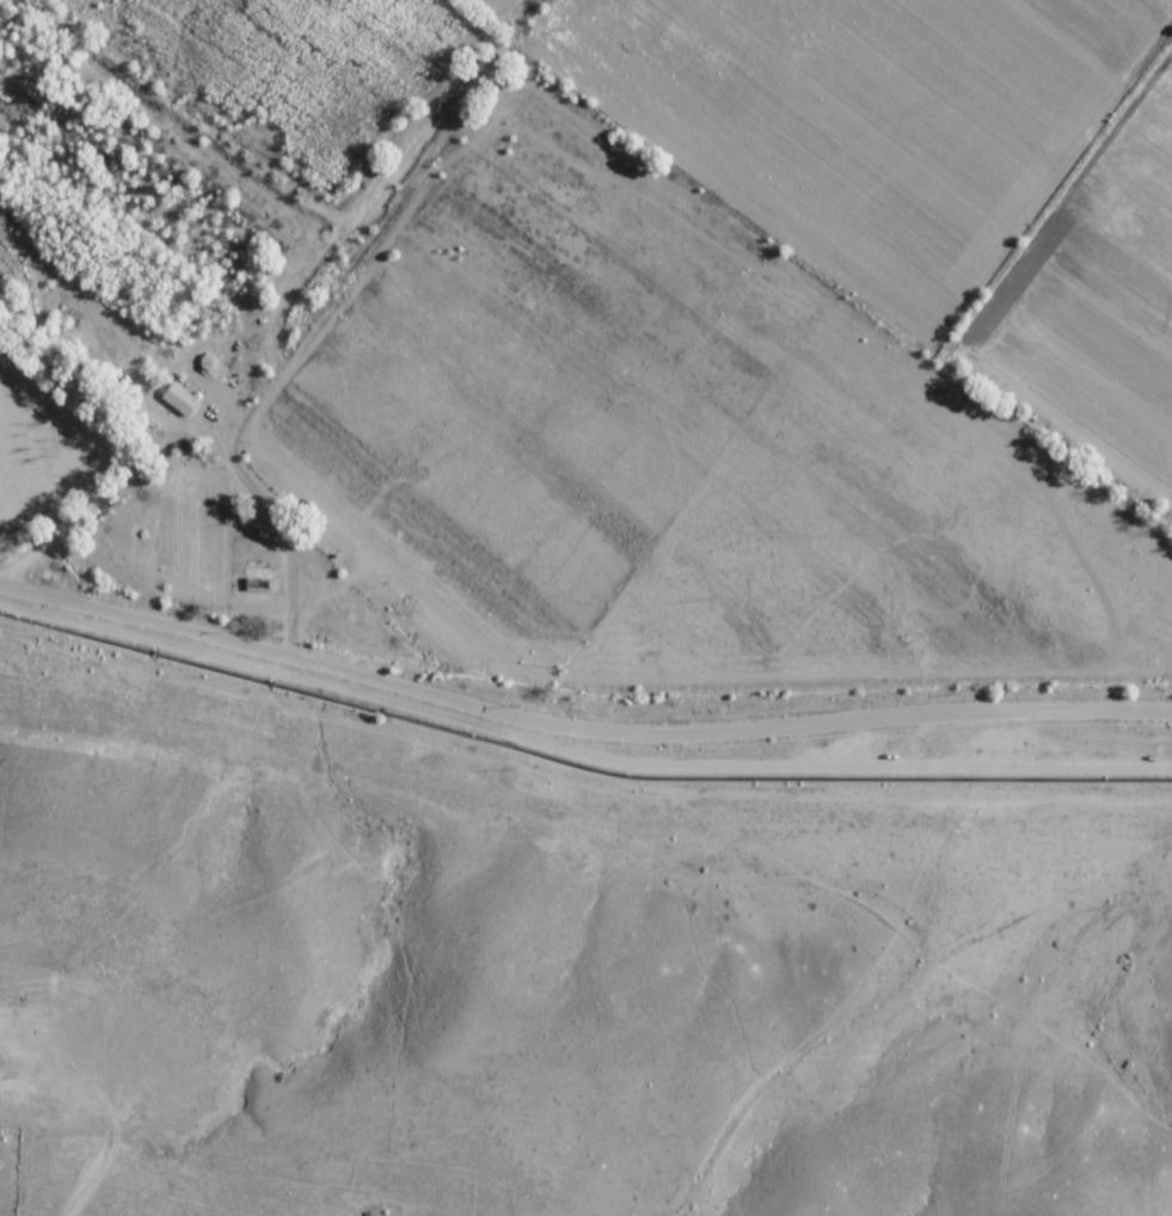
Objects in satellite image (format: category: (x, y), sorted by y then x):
building: (209, 362)
building: (183, 403)
building: (259, 576)
road: (578, 727)

